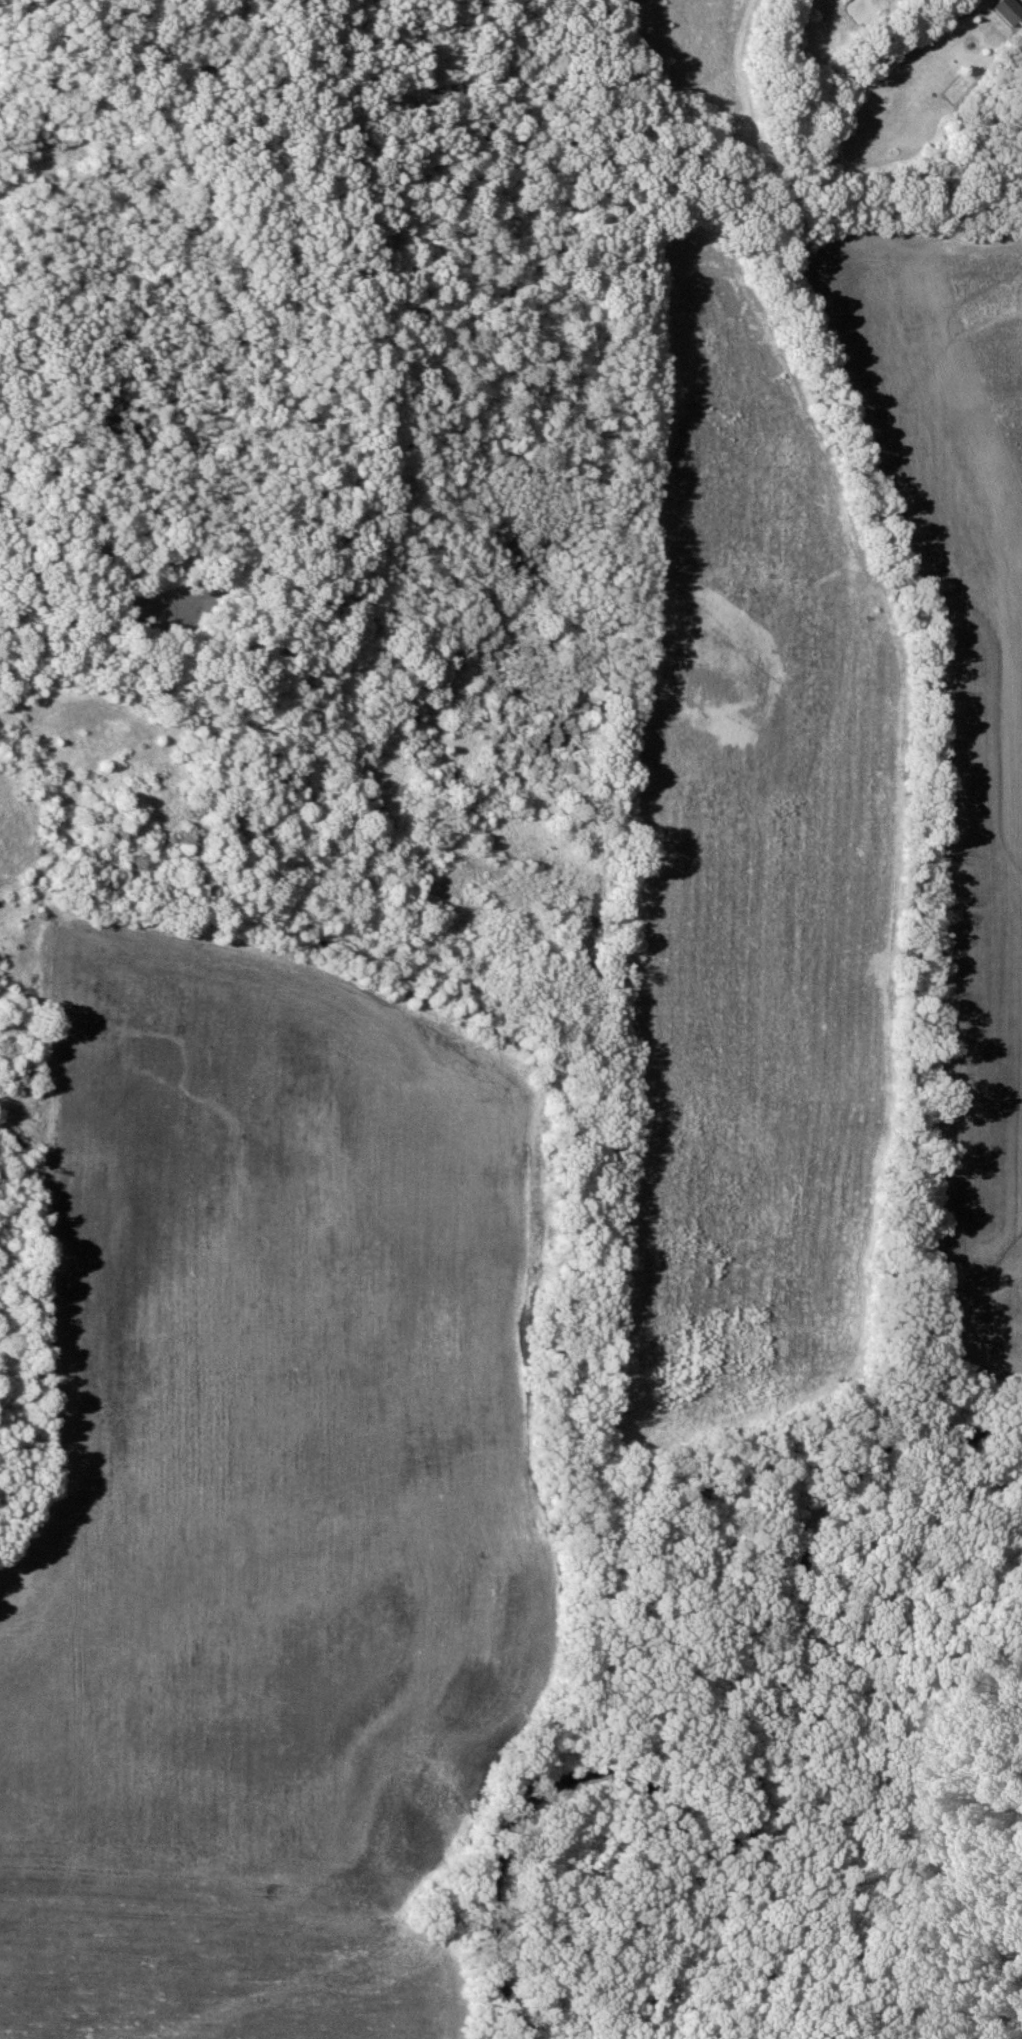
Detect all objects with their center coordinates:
building: (1009, 12)

